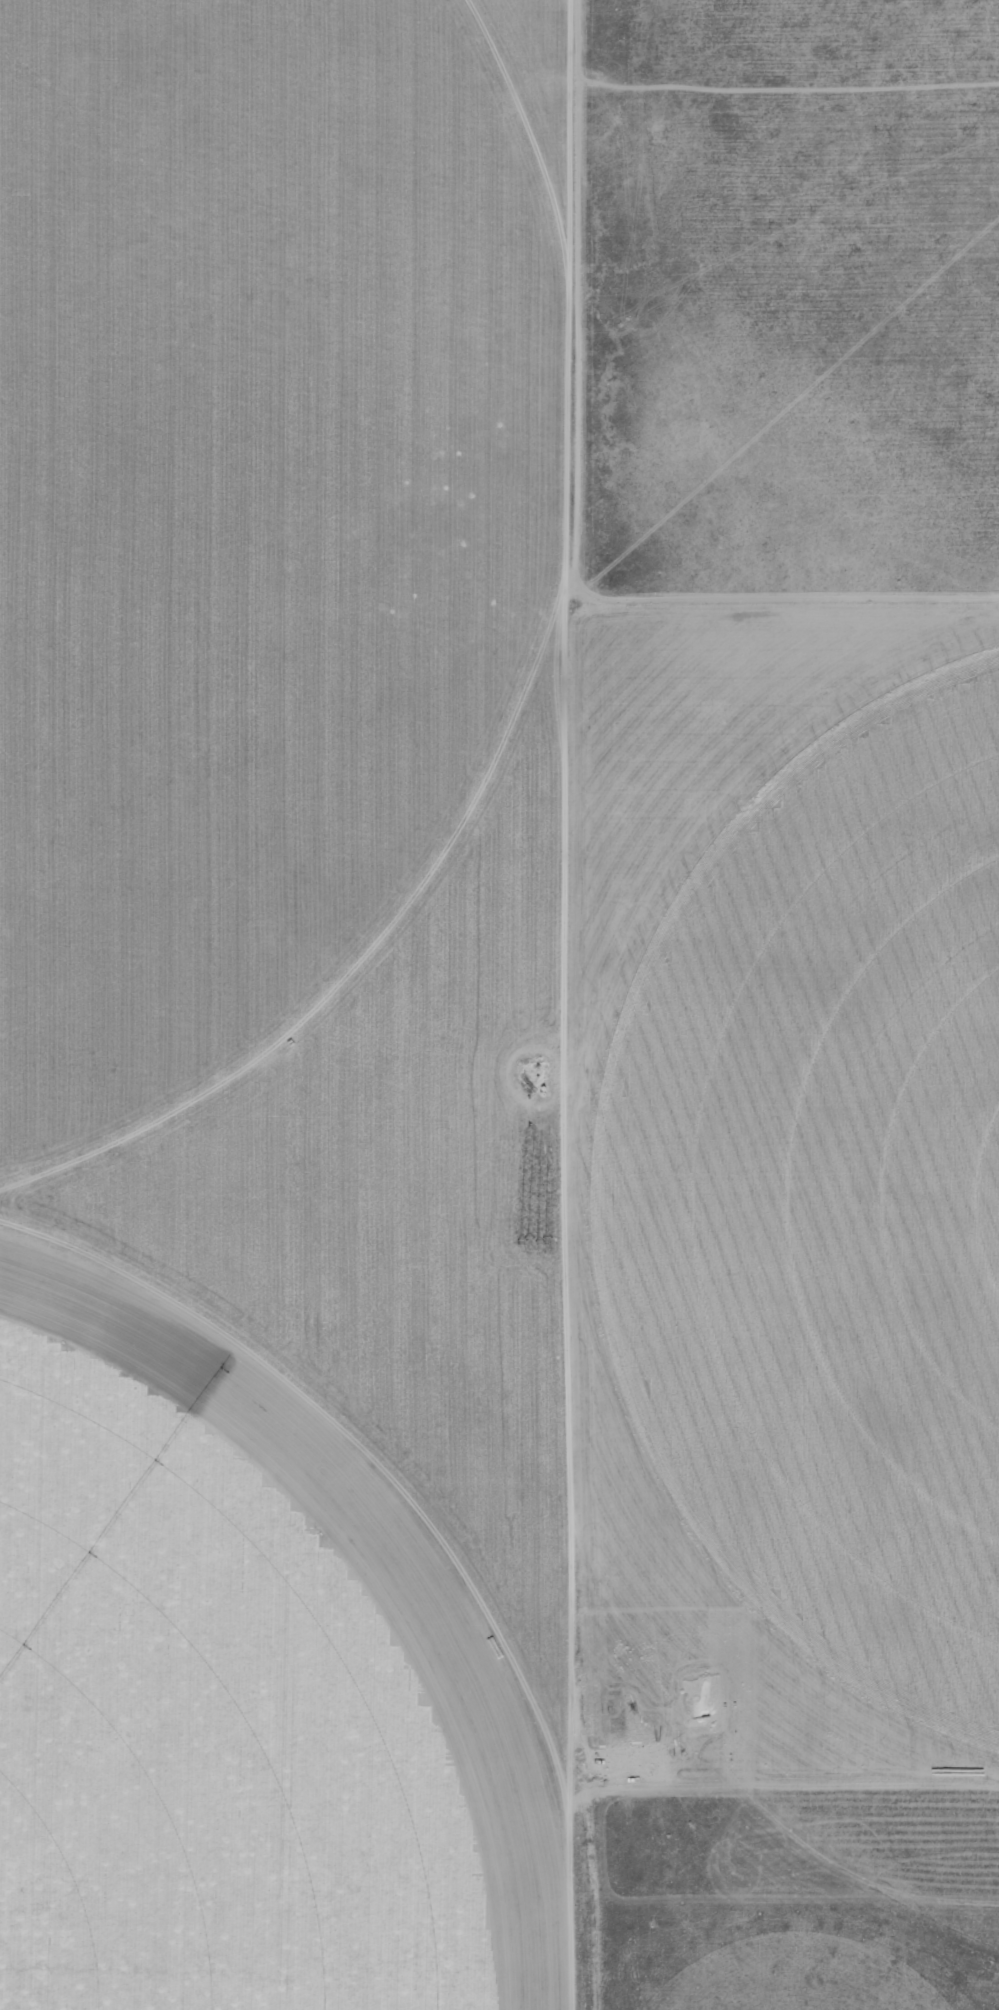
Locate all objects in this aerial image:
road: (522, 133)
road: (565, 138)
road: (581, 305)
road: (730, 809)
road: (449, 835)
road: (561, 1297)
road: (737, 1785)

